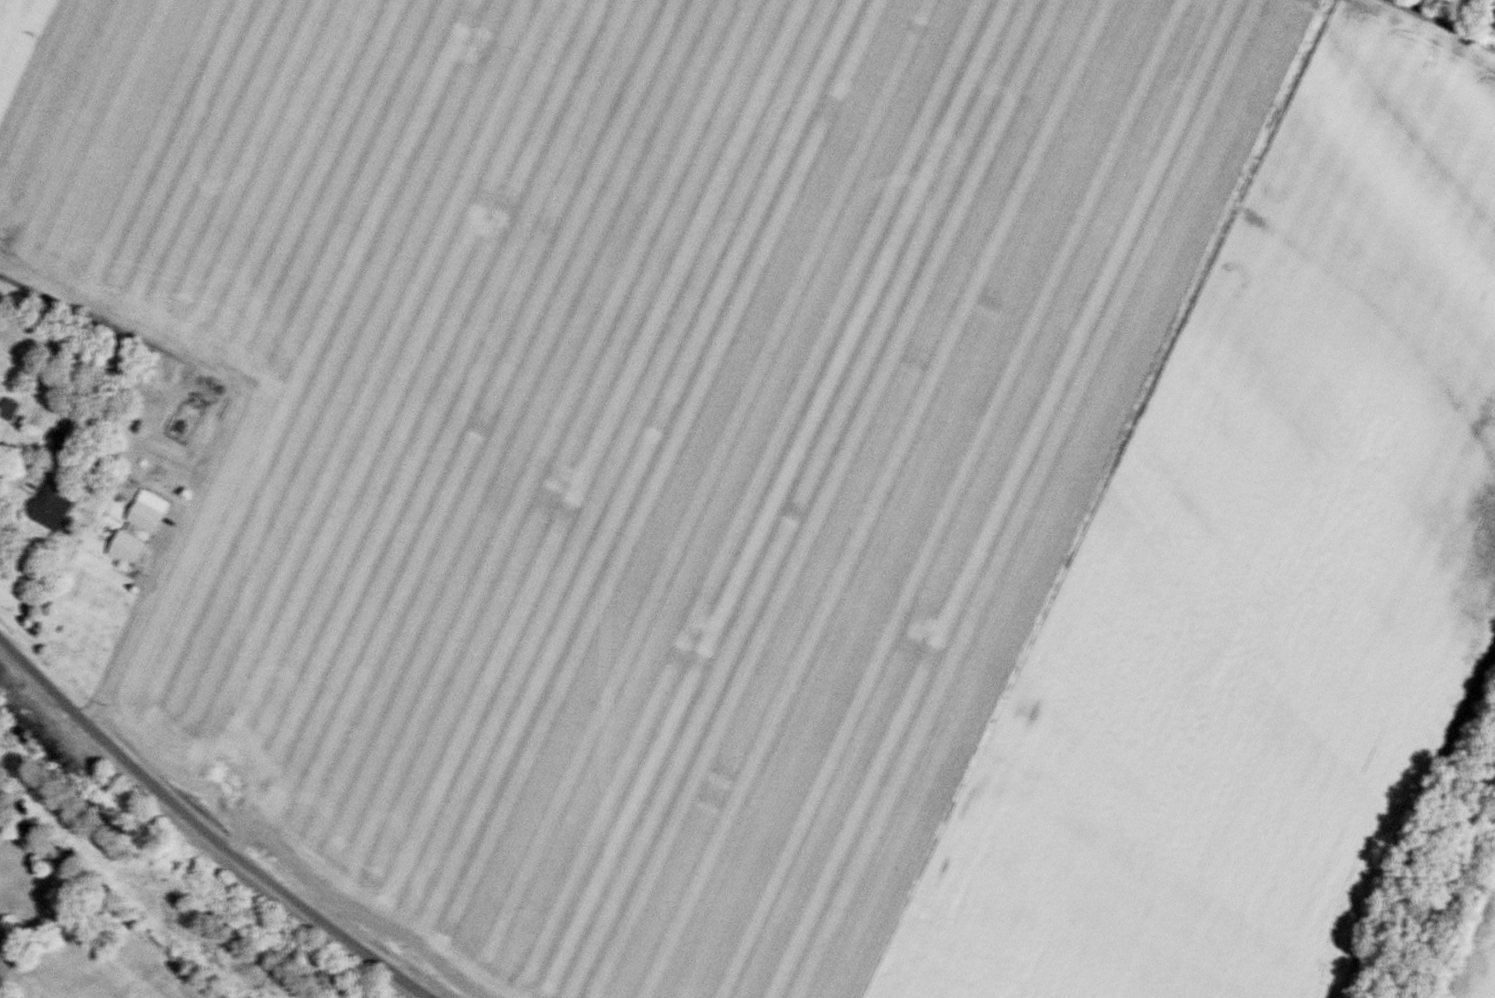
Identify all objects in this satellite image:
building: (10, 408)
building: (54, 508)
building: (142, 528)
road: (204, 829)
park: (11, 944)

